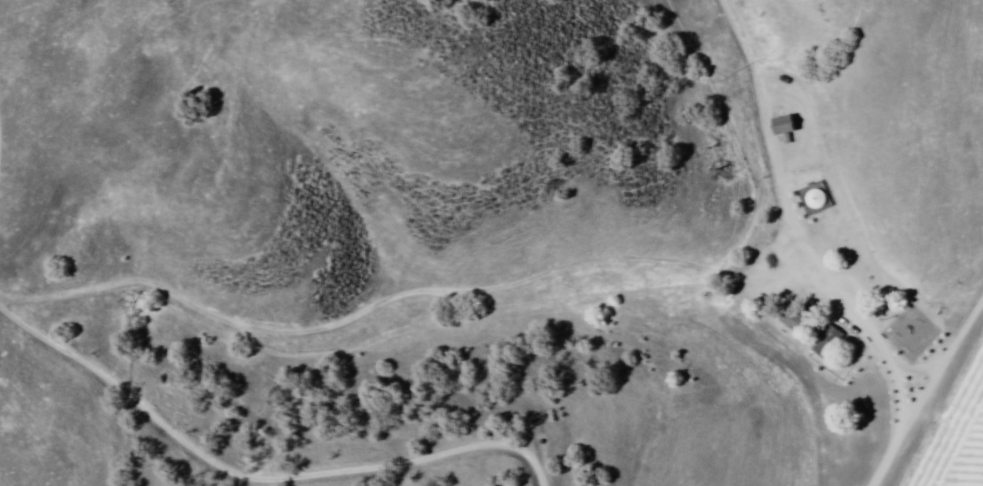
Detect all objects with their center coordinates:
building: (783, 125)
road: (727, 131)
road: (479, 294)
building: (828, 342)
road: (924, 379)

